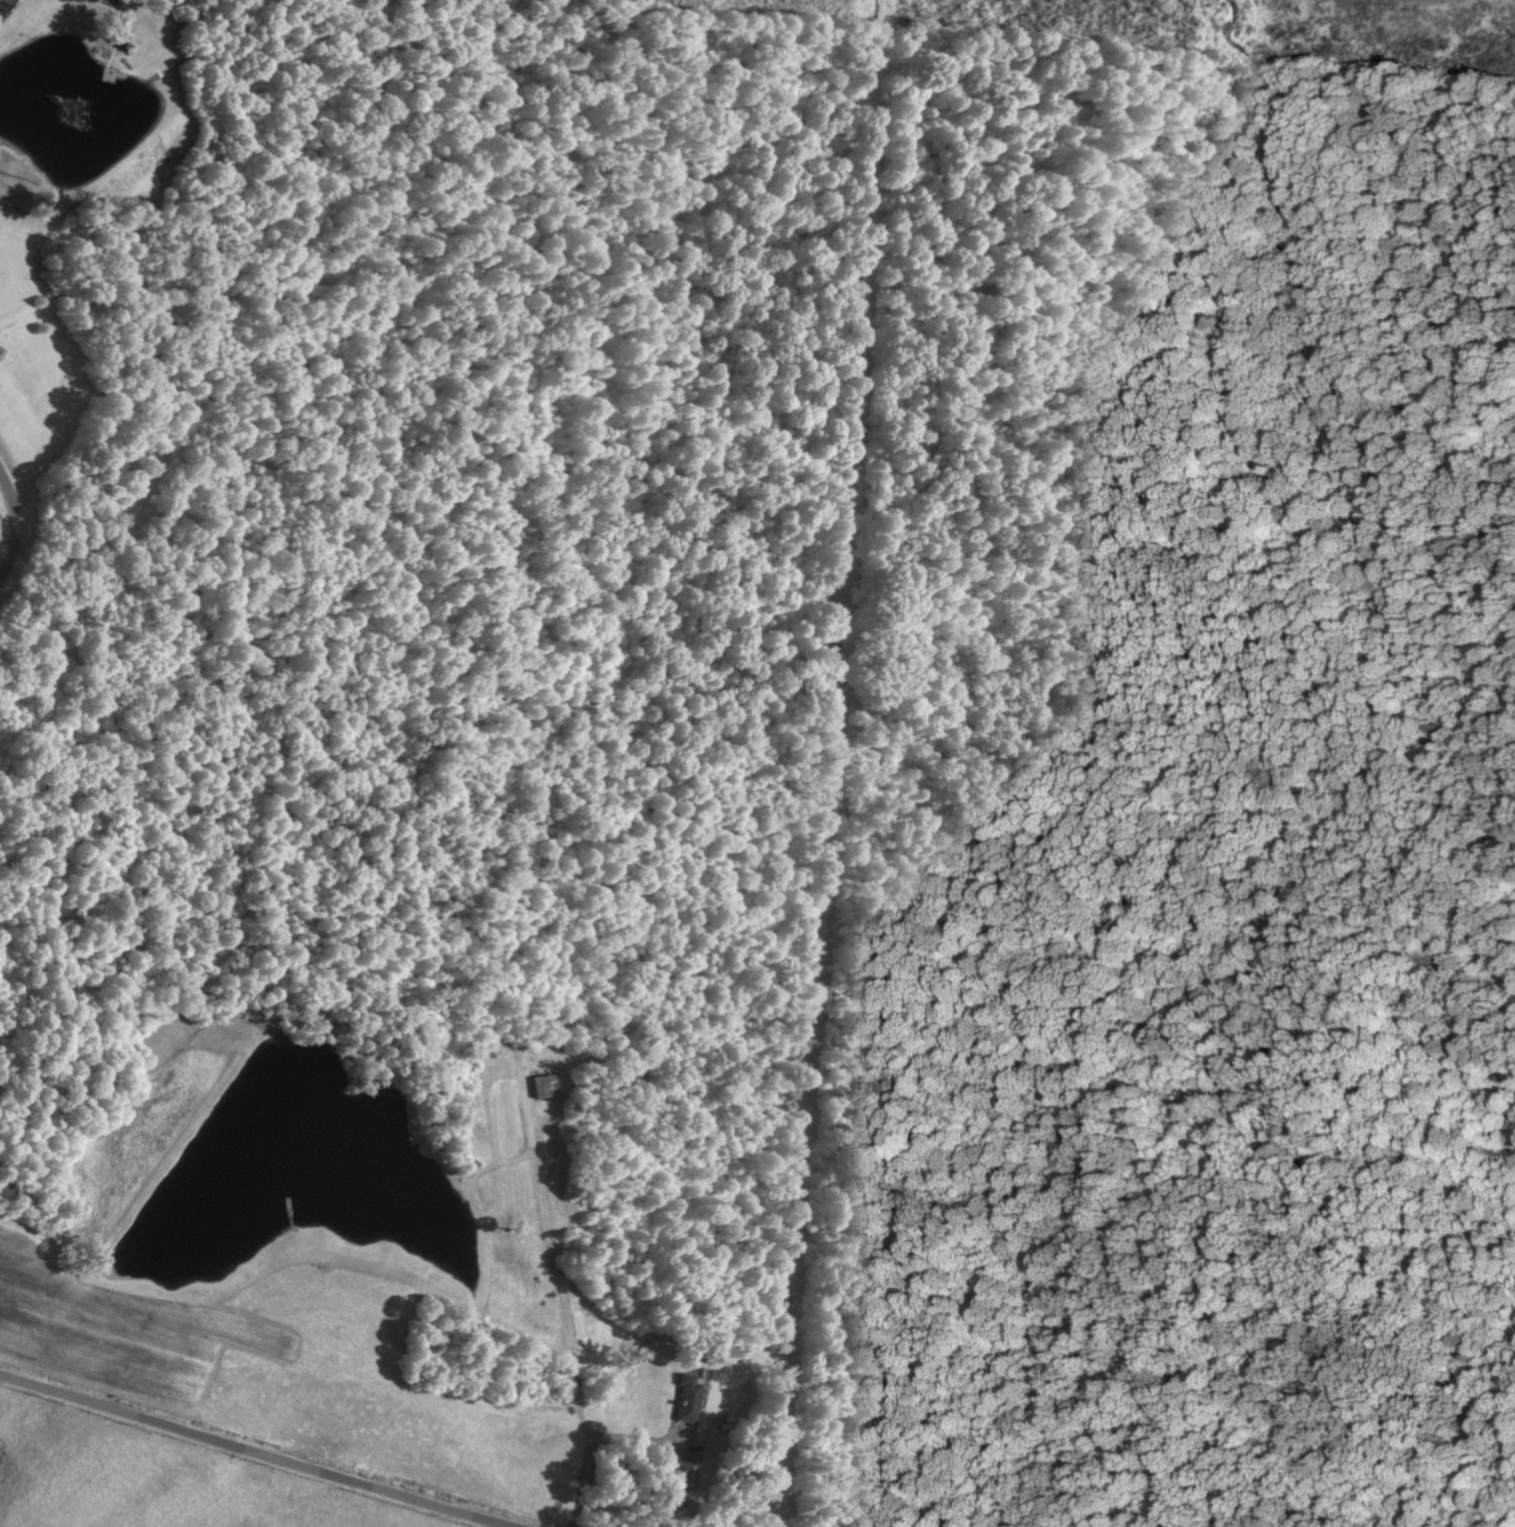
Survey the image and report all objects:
building: (3, 6)
road: (18, 524)
building: (546, 1086)
building: (690, 1397)
road: (258, 1451)

